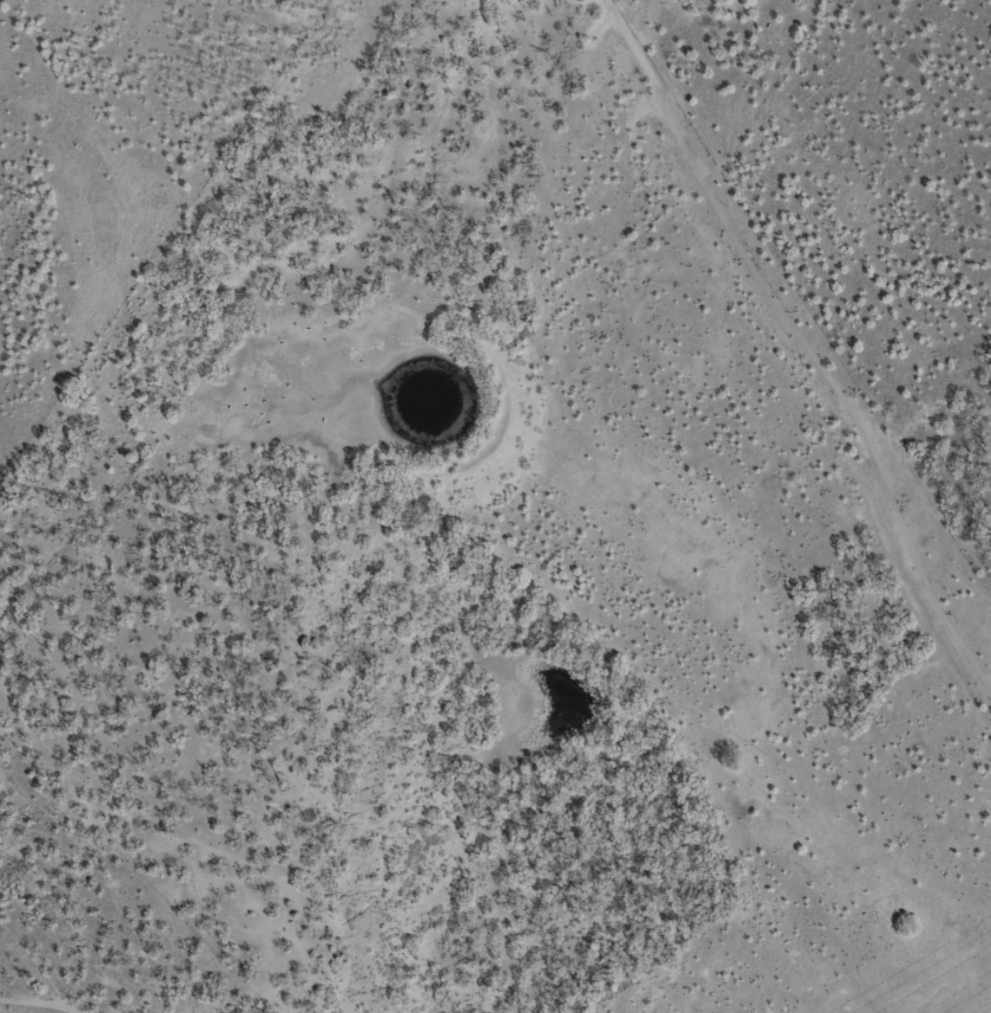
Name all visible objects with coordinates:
road: (776, 404)

